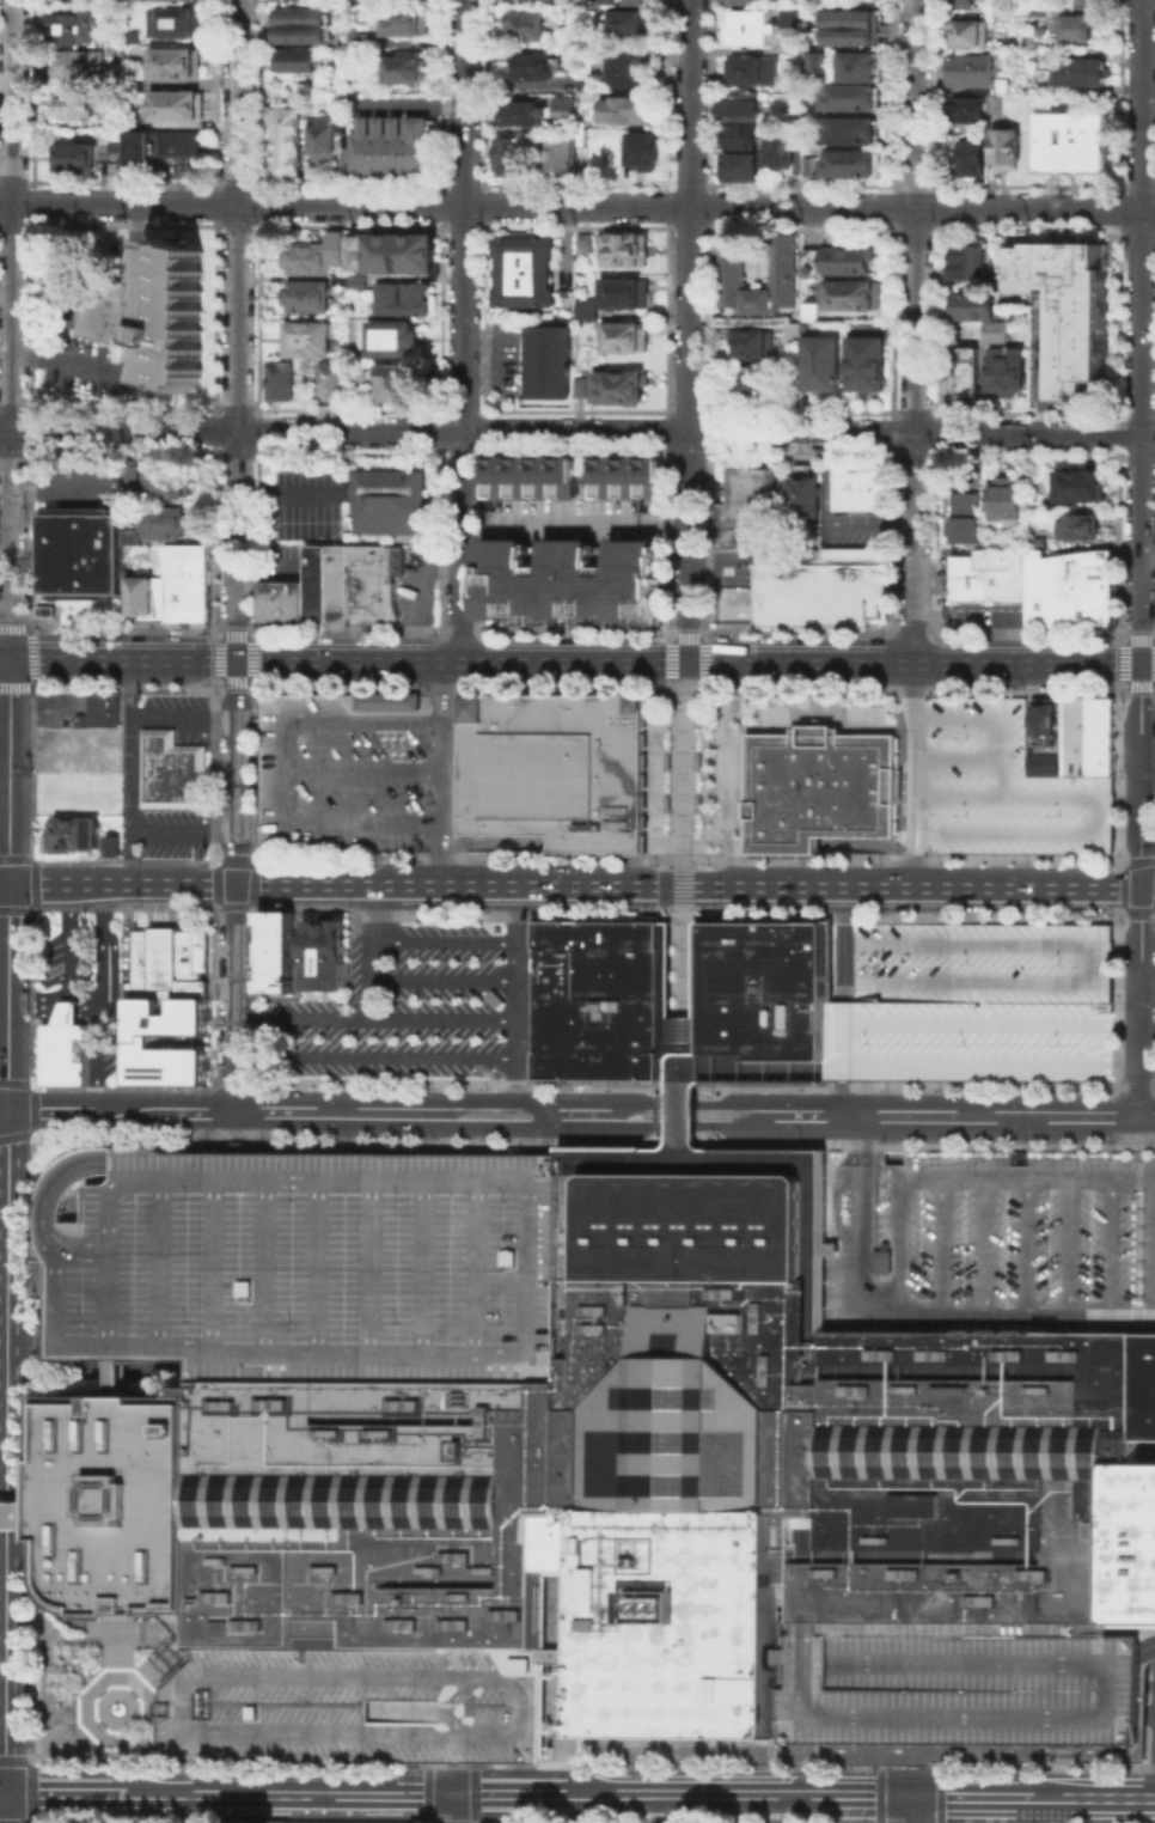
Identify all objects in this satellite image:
building: (299, 0)
building: (1093, 0)
building: (605, 1)
building: (630, 1)
building: (738, 1)
building: (964, 1)
building: (594, 11)
building: (790, 16)
building: (177, 19)
building: (409, 22)
building: (73, 25)
building: (304, 25)
building: (634, 25)
building: (750, 25)
building: (1076, 25)
building: (528, 28)
building: (852, 30)
building: (967, 31)
building: (132, 36)
building: (365, 41)
building: (115, 48)
building: (175, 61)
building: (78, 62)
building: (297, 62)
building: (819, 65)
building: (856, 65)
building: (533, 66)
building: (624, 67)
building: (971, 69)
building: (1080, 71)
building: (409, 72)
building: (754, 72)
building: (133, 79)
building: (583, 81)
building: (849, 96)
building: (991, 102)
building: (73, 103)
building: (175, 103)
building: (739, 106)
building: (965, 106)
building: (566, 109)
building: (627, 111)
building: (525, 115)
building: (849, 128)
building: (288, 135)
building: (741, 136)
building: (616, 140)
building: (326, 142)
building: (1074, 142)
building: (114, 144)
building: (161, 144)
building: (392, 144)
building: (1004, 146)
building: (783, 147)
building: (646, 150)
building: (73, 154)
building: (562, 156)
building: (970, 156)
building: (511, 159)
building: (848, 161)
parking lot: (177, 166)
building: (740, 167)
road: (185, 169)
road: (576, 205)
road: (11, 214)
road: (137, 236)
building: (583, 240)
building: (623, 248)
building: (393, 251)
building: (316, 252)
building: (781, 260)
building: (836, 260)
building: (967, 261)
building: (522, 269)
building: (357, 281)
building: (946, 283)
building: (561, 291)
building: (623, 291)
building: (850, 292)
building: (399, 295)
building: (307, 297)
road: (57, 304)
building: (976, 304)
building: (1068, 306)
building: (586, 307)
building: (808, 309)
building: (154, 312)
parking lot: (71, 323)
building: (995, 329)
road: (237, 330)
road: (463, 330)
building: (971, 330)
road: (689, 331)
building: (792, 331)
road: (915, 331)
road: (1142, 331)
building: (622, 334)
building: (1022, 335)
building: (396, 339)
building: (312, 340)
building: (750, 341)
parking lot: (1053, 350)
road: (481, 361)
parking lot: (503, 361)
building: (548, 361)
building: (821, 361)
building: (866, 361)
road: (96, 367)
building: (1006, 367)
building: (961, 373)
road: (1046, 373)
building: (282, 379)
building: (334, 383)
building: (398, 383)
building: (748, 384)
building: (579, 385)
building: (618, 385)
road: (4, 428)
road: (581, 431)
road: (965, 453)
building: (134, 470)
parking lot: (961, 474)
road: (472, 476)
building: (165, 481)
building: (1078, 483)
road: (55, 490)
building: (861, 490)
building: (567, 495)
building: (805, 498)
building: (1003, 498)
road: (5, 499)
parking lot: (78, 500)
building: (386, 500)
parking lot: (302, 508)
building: (747, 510)
building: (962, 516)
parking lot: (560, 517)
road: (566, 517)
road: (664, 517)
building: (164, 520)
building: (1076, 524)
building: (129, 534)
building: (1037, 541)
road: (10, 543)
building: (78, 551)
road: (1148, 560)
building: (989, 574)
building: (572, 580)
building: (187, 581)
building: (324, 583)
building: (374, 583)
building: (1069, 586)
building: (819, 587)
parking lot: (415, 589)
building: (146, 596)
building: (280, 602)
parking lot: (973, 603)
road: (1006, 622)
road: (4, 659)
traffic signals: (8, 659)
traffic signals: (236, 661)
road: (581, 661)
traffic signals: (687, 663)
traffic signals: (1141, 664)
parking lot: (56, 713)
building: (94, 713)
road: (185, 718)
road: (995, 719)
building: (1043, 719)
building: (1086, 734)
building: (73, 755)
road: (958, 758)
building: (1040, 762)
building: (554, 767)
building: (343, 769)
parking garage: (343, 769)
road: (8, 770)
road: (136, 772)
road: (725, 772)
road: (288, 773)
road: (366, 773)
road: (442, 773)
road: (913, 774)
building: (171, 775)
road: (1147, 781)
building: (1003, 785)
parking garage: (1003, 785)
building: (819, 789)
road: (1105, 815)
building: (77, 833)
road: (185, 833)
road: (683, 835)
building: (115, 845)
road: (5, 883)
traffic signals: (10, 883)
traffic signals: (234, 884)
road: (582, 885)
traffic signals: (656, 885)
road: (233, 886)
traffic signals: (1141, 888)
road: (1141, 890)
road: (104, 903)
road: (71, 940)
road: (444, 941)
road: (1046, 944)
building: (277, 951)
building: (328, 951)
road: (372, 951)
parking lot: (65, 956)
building: (167, 959)
road: (102, 965)
road: (444, 978)
road: (912, 980)
building: (766, 983)
road: (854, 988)
road: (1093, 989)
road: (517, 992)
road: (8, 996)
building: (605, 996)
road: (68, 998)
building: (979, 1000)
parking garage: (979, 1000)
road: (843, 1001)
road: (982, 1001)
parking lot: (398, 1006)
road: (55, 1007)
road: (880, 1008)
road: (1095, 1016)
road: (109, 1017)
road: (69, 1019)
road: (373, 1019)
road: (894, 1020)
road: (1059, 1023)
road: (674, 1032)
road: (689, 1032)
building: (140, 1037)
building: (63, 1054)
road: (374, 1056)
road: (1147, 1059)
road: (722, 1065)
road: (913, 1065)
road: (1059, 1066)
road: (683, 1077)
road: (477, 1099)
road: (585, 1099)
road: (711, 1104)
traffic signals: (8, 1112)
road: (221, 1112)
road: (960, 1116)
road: (683, 1118)
road: (544, 1124)
road: (604, 1127)
road: (232, 1130)
road: (1046, 1177)
road: (812, 1187)
road: (7, 1209)
road: (1138, 1224)
road: (899, 1225)
building: (989, 1238)
parking lot: (989, 1238)
road: (940, 1245)
road: (983, 1245)
road: (1025, 1245)
road: (1070, 1245)
road: (1110, 1246)
road: (1154, 1246)
building: (306, 1261)
parking lot: (306, 1261)
road: (906, 1315)
road: (29, 1341)
building: (1145, 1450)
road: (4, 1453)
building: (631, 1468)
building: (19, 1513)
road: (19, 1513)
road: (6, 1549)
road: (1145, 1646)
road: (103, 1682)
building: (949, 1683)
parking lot: (949, 1683)
building: (353, 1703)
parking lot: (353, 1703)
fountain: (117, 1707)
road: (1154, 1750)
road: (36, 1755)
road: (1153, 1756)
road: (18, 1760)
road: (31, 1776)
road: (451, 1778)
road: (909, 1779)
road: (2, 1792)
traffic signals: (6, 1792)
road: (66, 1793)
road: (232, 1793)
road: (393, 1794)
traffic signals: (451, 1794)
road: (508, 1794)
road: (689, 1794)
road: (860, 1795)
road: (879, 1795)
traffic signals: (909, 1795)
road: (971, 1795)
road: (1047, 1797)
road: (1108, 1797)
road: (6, 1807)
road: (451, 1809)
road: (475, 1809)
road: (909, 1809)
road: (1051, 1810)
road: (893, 1817)
road: (2, 1822)
building: (346, 1822)

